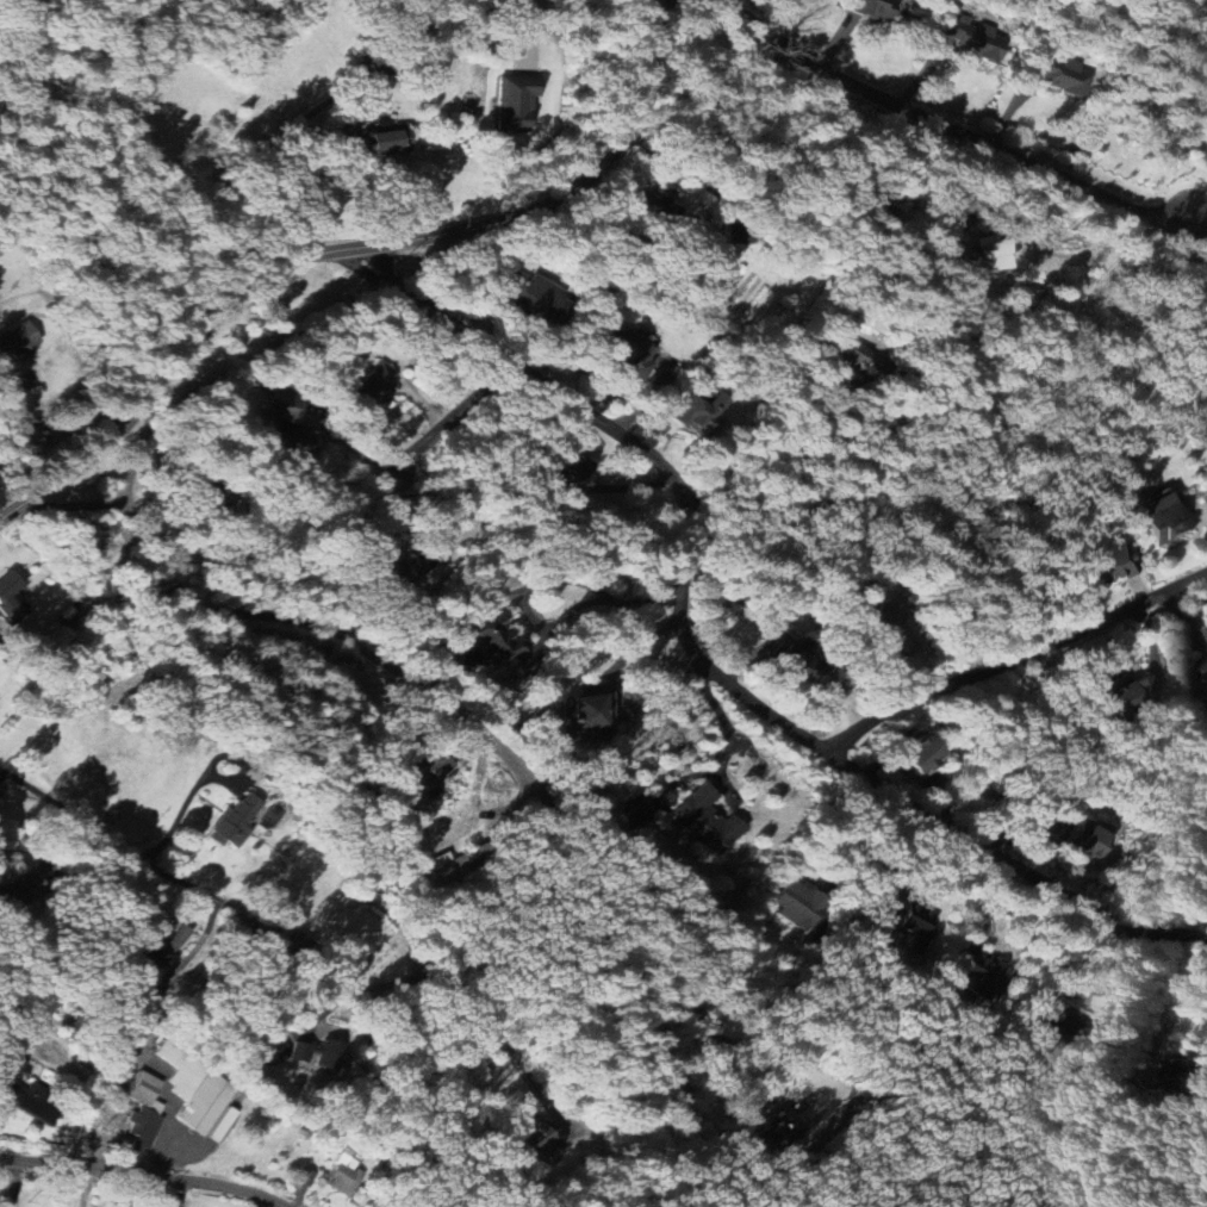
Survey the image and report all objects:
road: (651, 7)
building: (877, 10)
road: (478, 35)
building: (978, 43)
building: (1062, 74)
road: (944, 125)
building: (385, 139)
building: (657, 209)
road: (763, 218)
road: (659, 236)
road: (348, 248)
road: (356, 253)
building: (993, 254)
road: (369, 265)
building: (536, 298)
building: (18, 340)
building: (632, 350)
building: (372, 392)
building: (701, 413)
road: (454, 415)
building: (291, 425)
building: (571, 474)
road: (769, 475)
road: (120, 492)
building: (1166, 519)
building: (1112, 566)
building: (397, 568)
building: (11, 596)
building: (497, 641)
road: (636, 643)
road: (1013, 657)
building: (798, 666)
road: (713, 670)
building: (1202, 674)
building: (1128, 692)
building: (587, 717)
road: (722, 722)
road: (497, 742)
building: (920, 759)
building: (436, 771)
road: (200, 783)
building: (635, 811)
building: (707, 821)
building: (236, 822)
road: (851, 834)
building: (1084, 840)
road: (173, 875)
building: (24, 890)
building: (795, 904)
building: (915, 922)
building: (158, 954)
road: (1076, 960)
building: (978, 973)
road: (463, 1000)
building: (1064, 1038)
building: (279, 1049)
building: (324, 1051)
building: (195, 1087)
road: (80, 1090)
building: (145, 1091)
building: (35, 1100)
building: (686, 1110)
building: (796, 1125)
building: (143, 1128)
building: (543, 1141)
road: (147, 1172)
building: (344, 1175)
road: (182, 1192)

